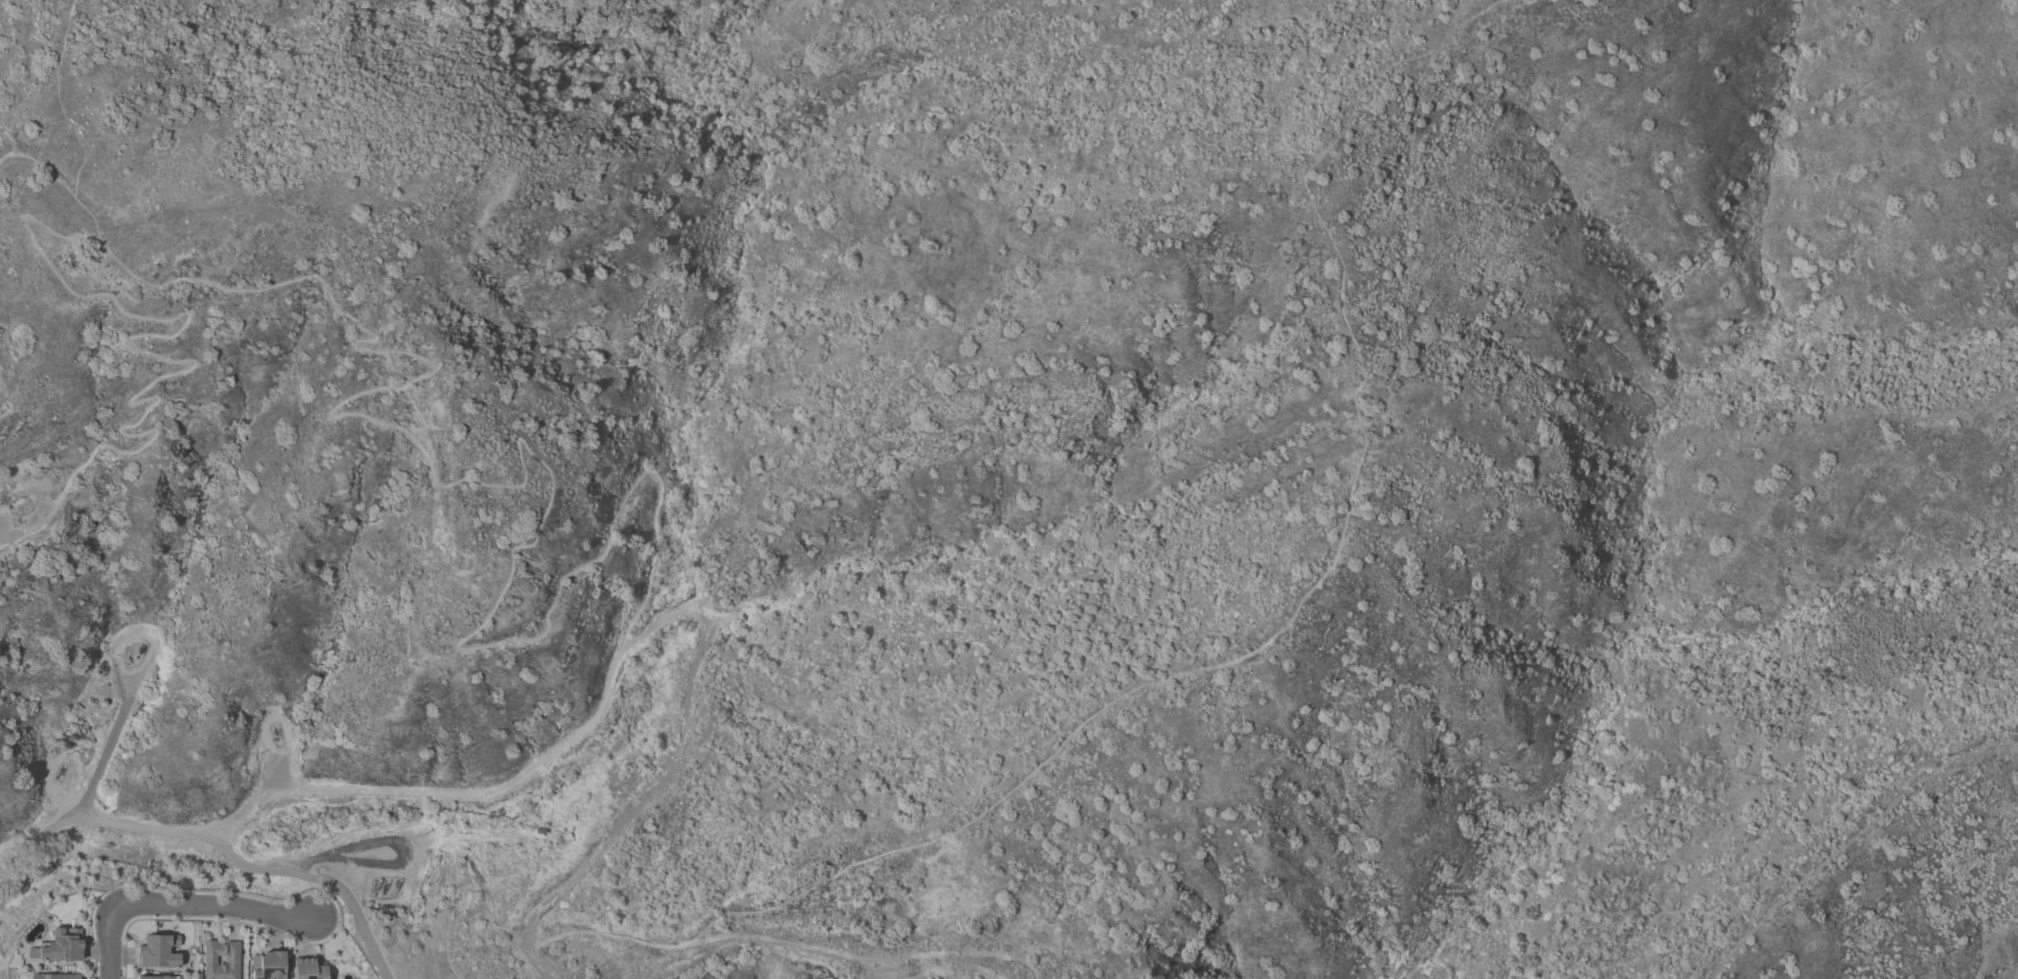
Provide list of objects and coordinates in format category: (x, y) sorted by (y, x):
road: (363, 419)
road: (1, 524)
petroleum well: (140, 649)
road: (104, 750)
petroleum well: (59, 769)
road: (674, 775)
road: (94, 815)
road: (1845, 834)
road: (342, 855)
road: (315, 879)
petroleum well: (383, 886)
petroleum well: (395, 886)
petroleum well: (374, 888)
road: (323, 892)
road: (214, 906)
road: (107, 942)
building: (60, 949)
building: (155, 955)
building: (215, 961)
building: (261, 967)
building: (302, 971)
building: (55, 978)

